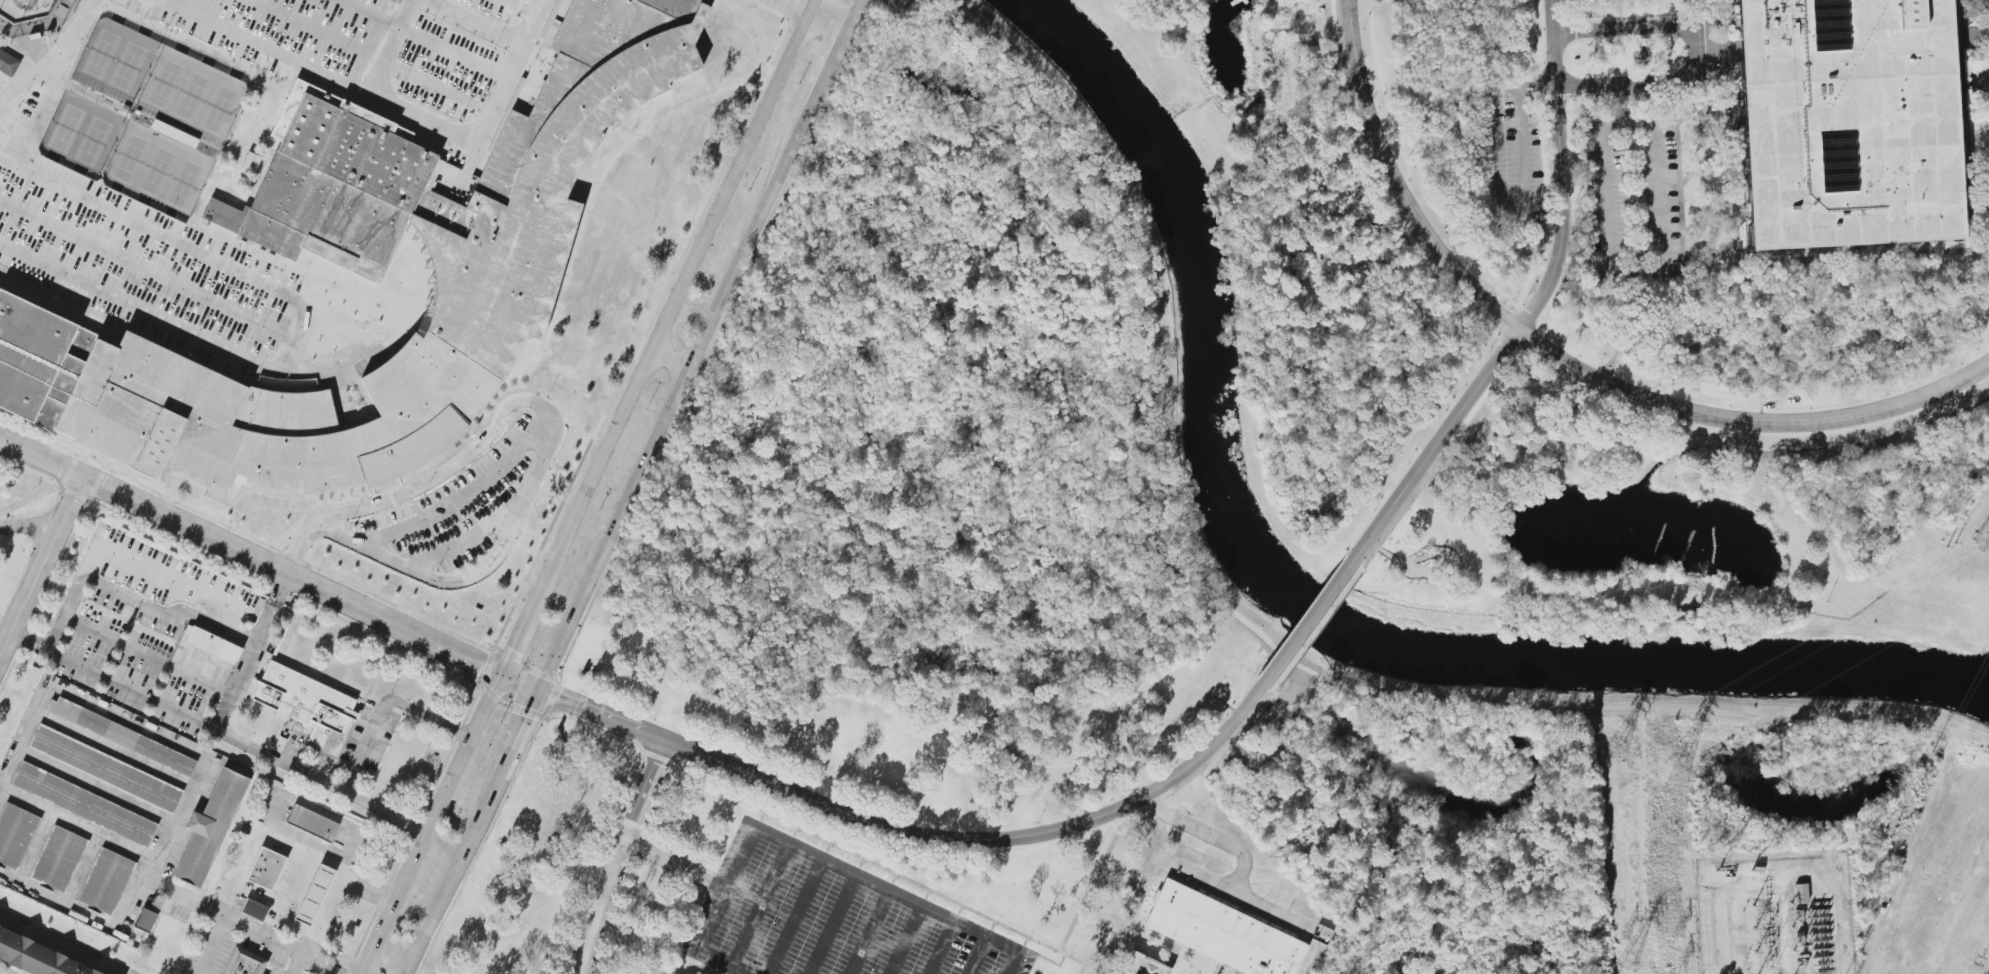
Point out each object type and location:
park: (24, 9)
road: (813, 14)
road: (854, 15)
road: (479, 21)
building: (37, 23)
road: (1986, 23)
park: (208, 26)
road: (788, 35)
road: (425, 38)
park: (236, 39)
road: (266, 47)
road: (1961, 49)
road: (1691, 50)
road: (47, 54)
building: (8, 62)
road: (753, 65)
road: (829, 69)
road: (747, 71)
road: (1983, 80)
stadium: (3, 82)
park: (166, 84)
park: (193, 96)
park: (220, 109)
building: (1846, 122)
building: (23, 127)
road: (445, 131)
building: (4, 134)
building: (46, 150)
parking lot: (1510, 156)
park: (131, 158)
park: (158, 171)
parking lot: (647, 183)
road: (1398, 183)
park: (185, 184)
road: (656, 191)
parking lot: (1632, 197)
road: (1493, 204)
building: (497, 251)
road: (584, 258)
road: (146, 270)
road: (1618, 273)
road: (677, 297)
road: (1535, 307)
road: (300, 323)
building: (38, 361)
road: (1582, 390)
road: (675, 399)
road: (1749, 420)
road: (549, 423)
park: (1594, 515)
road: (31, 526)
road: (254, 539)
power tower: (1980, 540)
road: (251, 554)
road: (42, 567)
road: (184, 578)
river: (1307, 602)
road: (152, 603)
road: (271, 609)
road: (1308, 621)
road: (520, 634)
building: (213, 645)
road: (147, 658)
road: (520, 682)
building: (304, 701)
road: (387, 702)
road: (538, 713)
road: (133, 727)
road: (221, 729)
road: (520, 732)
power tower: (1613, 752)
power tower: (1675, 772)
road: (1, 788)
road: (622, 811)
building: (111, 813)
building: (311, 823)
road: (430, 823)
road: (267, 829)
road: (917, 833)
road: (1214, 835)
road: (482, 844)
road: (617, 854)
road: (668, 857)
road: (813, 857)
road: (873, 863)
building: (266, 868)
road: (1099, 868)
road: (452, 873)
road: (717, 884)
road: (336, 887)
building: (1800, 893)
building: (314, 894)
road: (186, 896)
road: (1242, 899)
road: (760, 905)
road: (85, 910)
building: (254, 910)
power substation: (1773, 915)
road: (794, 917)
parking lot: (830, 918)
road: (240, 920)
road: (832, 925)
road: (869, 932)
power tower: (1678, 932)
building: (1222, 933)
power tower: (1626, 935)
road: (905, 940)
road: (63, 944)
road: (942, 947)
road: (1112, 949)
road: (324, 951)
road: (978, 955)
building: (37, 958)
building: (244, 962)
road: (299, 962)
power tower: (1626, 965)
building: (1141, 966)
power tower: (1680, 969)

